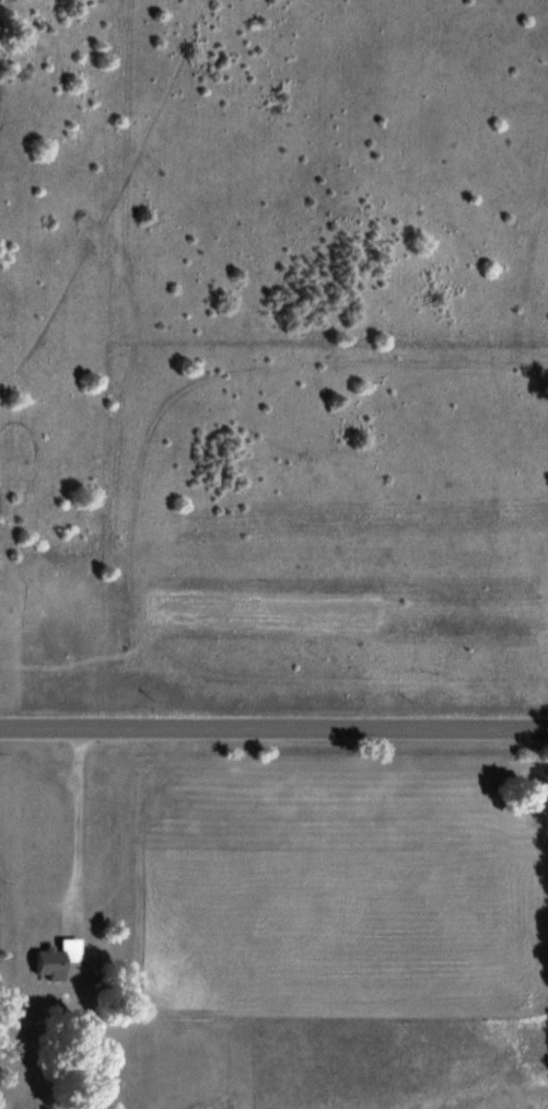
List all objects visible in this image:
road: (273, 731)
building: (56, 959)

